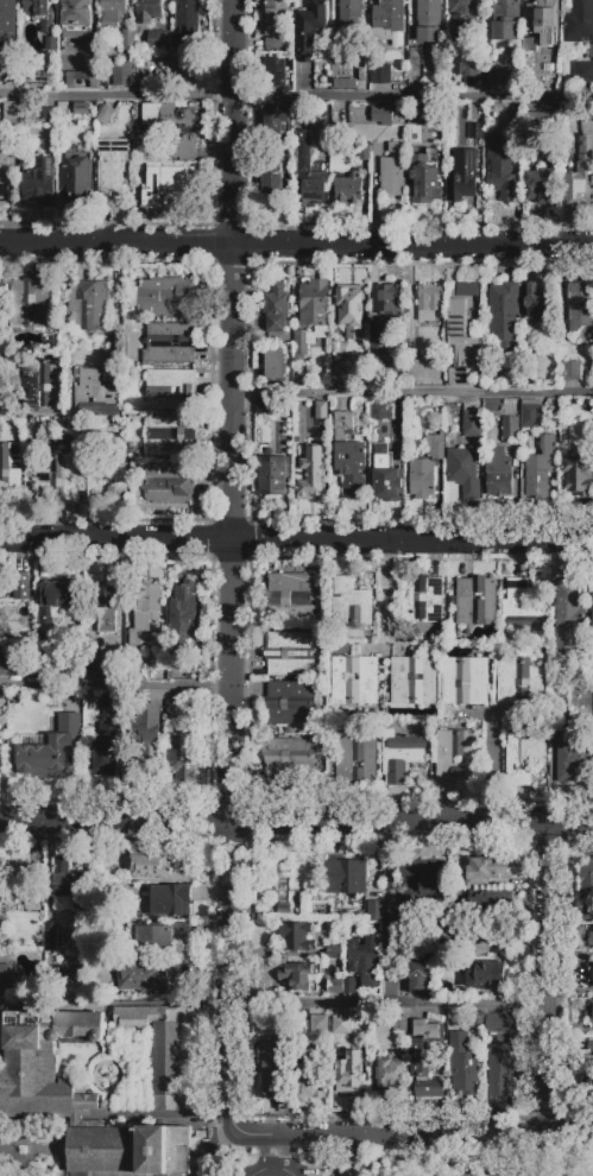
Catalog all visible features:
building: (37, 8)
building: (149, 11)
building: (351, 11)
building: (113, 13)
building: (276, 13)
building: (77, 14)
building: (387, 17)
building: (461, 18)
building: (505, 19)
building: (188, 20)
building: (429, 20)
building: (579, 20)
building: (545, 21)
building: (7, 23)
building: (310, 27)
building: (127, 39)
building: (159, 40)
building: (529, 44)
building: (51, 45)
building: (343, 52)
building: (417, 57)
building: (272, 64)
building: (472, 69)
building: (176, 71)
building: (583, 72)
building: (8, 74)
building: (121, 74)
building: (143, 74)
building: (380, 74)
building: (499, 75)
building: (39, 77)
building: (82, 78)
building: (343, 84)
road: (296, 100)
building: (81, 109)
building: (11, 113)
building: (105, 115)
building: (46, 116)
building: (381, 118)
building: (276, 120)
building: (537, 124)
building: (170, 128)
building: (477, 132)
building: (513, 139)
building: (365, 153)
building: (6, 170)
building: (112, 171)
building: (393, 171)
building: (500, 171)
building: (580, 172)
building: (309, 175)
building: (75, 179)
building: (272, 179)
building: (423, 179)
building: (462, 181)
building: (40, 182)
building: (166, 183)
building: (541, 185)
building: (348, 189)
road: (296, 246)
building: (165, 297)
building: (429, 302)
building: (537, 302)
building: (32, 303)
building: (389, 303)
building: (314, 304)
building: (348, 305)
building: (580, 305)
building: (87, 306)
building: (275, 308)
building: (504, 315)
building: (463, 327)
building: (532, 336)
building: (361, 342)
building: (170, 343)
building: (301, 343)
building: (378, 348)
building: (415, 348)
building: (275, 365)
building: (572, 371)
building: (339, 373)
building: (42, 387)
building: (171, 391)
building: (95, 396)
road: (412, 396)
road: (232, 411)
building: (280, 411)
building: (321, 411)
building: (378, 411)
building: (530, 416)
building: (472, 423)
building: (510, 430)
building: (169, 435)
building: (435, 445)
building: (349, 457)
building: (540, 469)
building: (11, 470)
building: (463, 470)
building: (498, 472)
building: (578, 473)
building: (311, 475)
building: (273, 476)
building: (385, 476)
building: (58, 478)
building: (422, 479)
building: (107, 480)
road: (29, 481)
building: (169, 483)
road: (296, 544)
building: (19, 586)
building: (61, 595)
building: (290, 596)
road: (385, 596)
building: (422, 599)
building: (477, 601)
building: (351, 603)
building: (109, 606)
building: (522, 607)
building: (145, 611)
building: (592, 612)
building: (568, 617)
building: (182, 618)
building: (5, 621)
building: (48, 626)
building: (24, 641)
building: (290, 653)
building: (105, 662)
building: (11, 666)
building: (134, 666)
building: (414, 682)
building: (465, 682)
building: (519, 682)
road: (115, 685)
building: (355, 691)
building: (291, 703)
building: (112, 706)
building: (2, 708)
building: (175, 710)
building: (560, 721)
building: (149, 736)
building: (50, 747)
building: (105, 752)
building: (455, 754)
building: (402, 755)
building: (355, 758)
building: (523, 758)
building: (184, 759)
building: (289, 759)
building: (572, 759)
road: (115, 822)
road: (412, 822)
building: (118, 865)
building: (162, 865)
building: (485, 871)
building: (346, 875)
building: (586, 879)
building: (422, 880)
building: (68, 881)
building: (130, 892)
building: (10, 896)
building: (171, 900)
building: (492, 905)
building: (376, 910)
road: (386, 911)
building: (587, 912)
building: (52, 936)
building: (297, 936)
building: (159, 937)
building: (439, 938)
building: (488, 938)
building: (591, 938)
building: (410, 947)
building: (334, 951)
road: (549, 953)
building: (364, 961)
building: (588, 974)
building: (419, 976)
building: (488, 976)
building: (141, 978)
building: (299, 978)
building: (5, 979)
road: (231, 979)
building: (335, 987)
building: (351, 987)
road: (390, 1000)
road: (174, 1003)
building: (589, 1010)
building: (340, 1022)
building: (496, 1023)
building: (318, 1024)
building: (399, 1024)
building: (160, 1044)
building: (591, 1048)
building: (423, 1057)
building: (42, 1063)
building: (463, 1063)
building: (273, 1068)
building: (500, 1069)
building: (348, 1070)
building: (389, 1076)
building: (310, 1079)
building: (589, 1087)
road: (549, 1109)
road: (156, 1113)
road: (23, 1126)
road: (361, 1137)
road: (543, 1139)
road: (12, 1140)
road: (64, 1146)
road: (5, 1149)
road: (51, 1150)
building: (128, 1151)
road: (267, 1156)
road: (522, 1157)
road: (21, 1168)
park: (475, 1168)
parking lot: (263, 1170)
building: (353, 1175)
road: (499, 1175)

